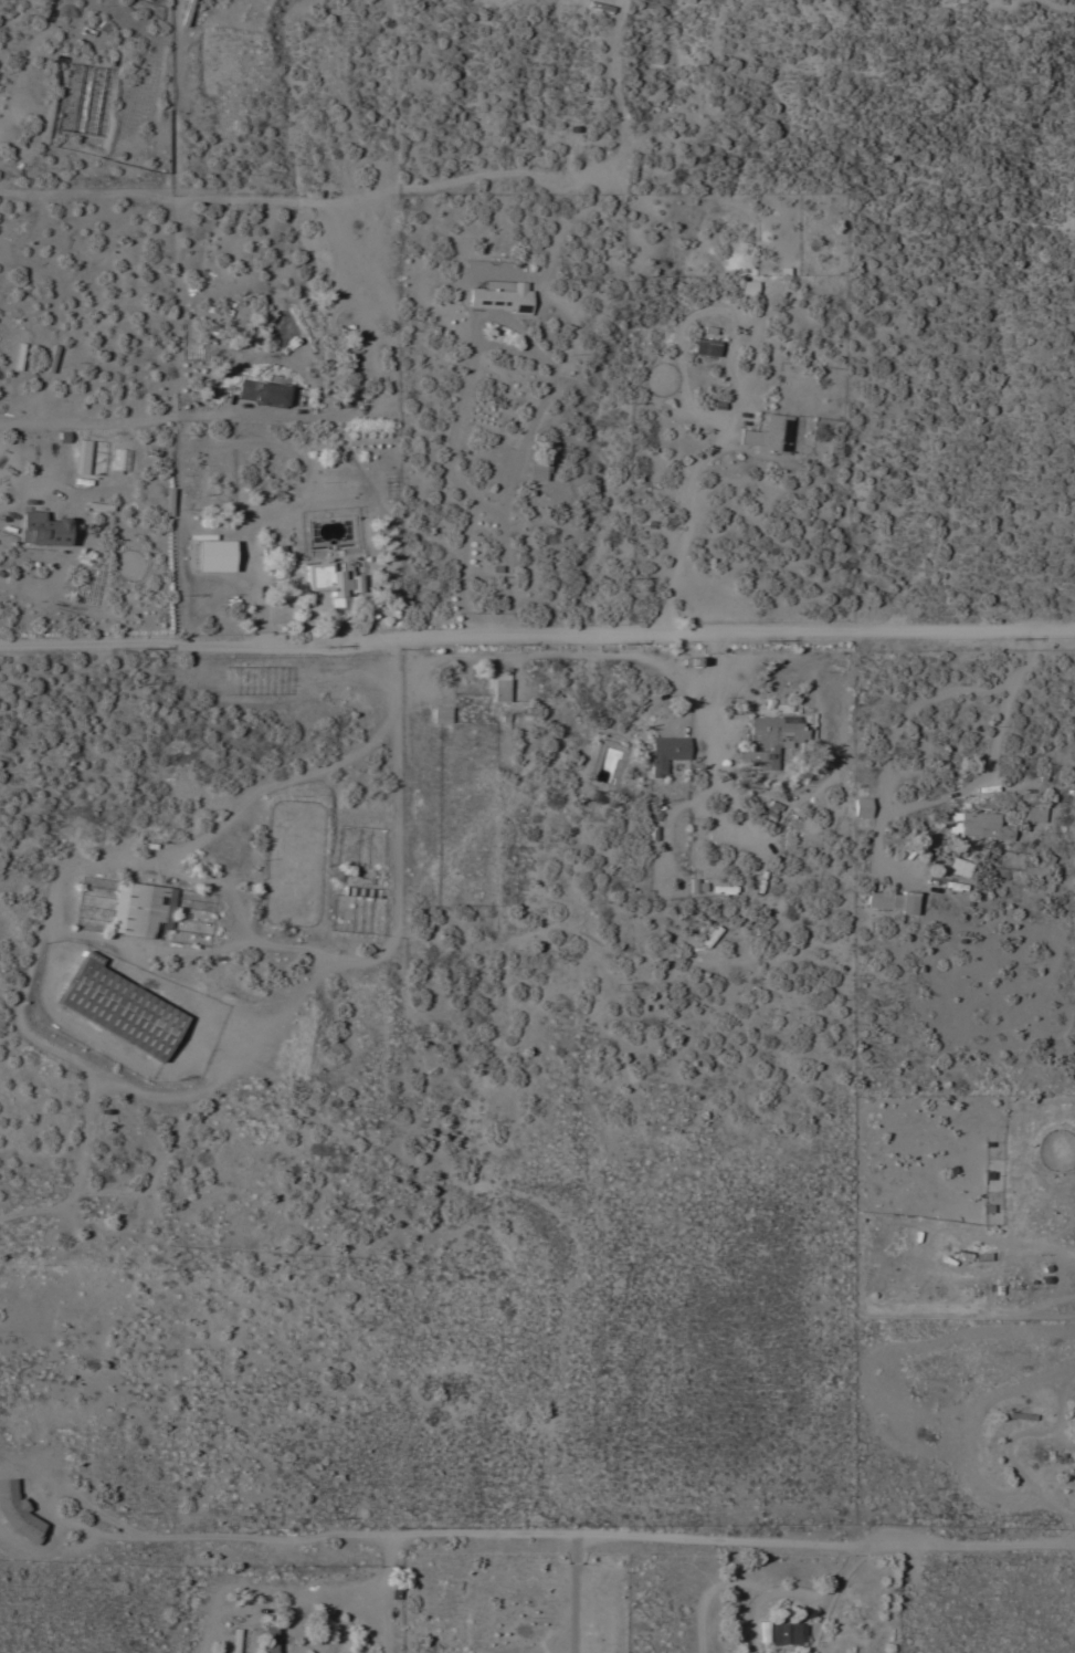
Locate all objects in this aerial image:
building: (186, 12)
building: (748, 289)
building: (502, 296)
building: (193, 297)
road: (497, 320)
building: (706, 347)
building: (262, 394)
road: (149, 421)
building: (769, 435)
building: (83, 457)
road: (679, 502)
road: (489, 510)
building: (43, 530)
building: (215, 555)
building: (331, 578)
road: (537, 640)
building: (252, 680)
building: (497, 687)
building: (441, 714)
road: (1002, 714)
building: (772, 737)
building: (666, 753)
road: (400, 797)
building: (861, 807)
building: (1031, 814)
building: (977, 825)
building: (958, 867)
building: (1036, 868)
building: (362, 881)
building: (721, 890)
building: (890, 902)
building: (141, 910)
road: (242, 927)
road: (32, 977)
building: (119, 1008)
building: (28, 1526)
road: (531, 1539)
road: (388, 1596)
road: (576, 1596)
road: (768, 1597)
road: (834, 1598)
building: (786, 1634)
building: (267, 1640)

